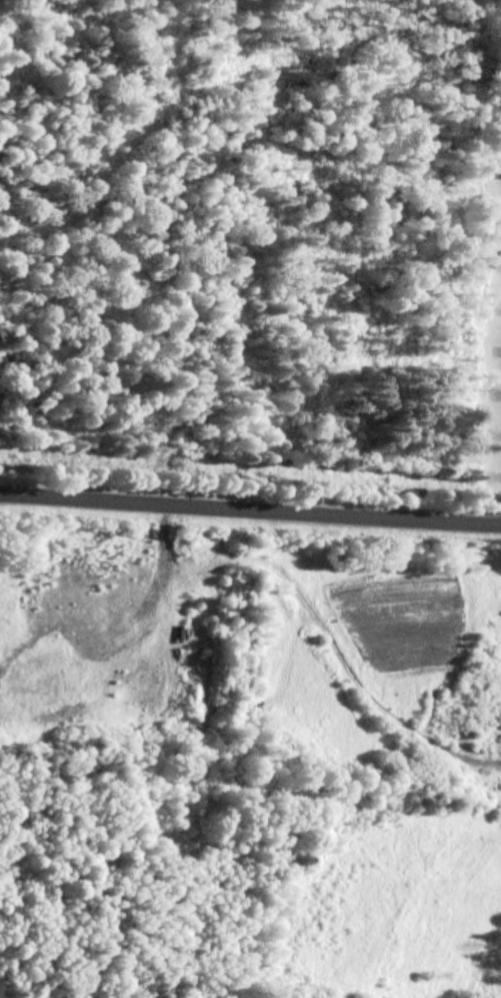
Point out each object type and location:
park: (477, 276)
road: (250, 512)

